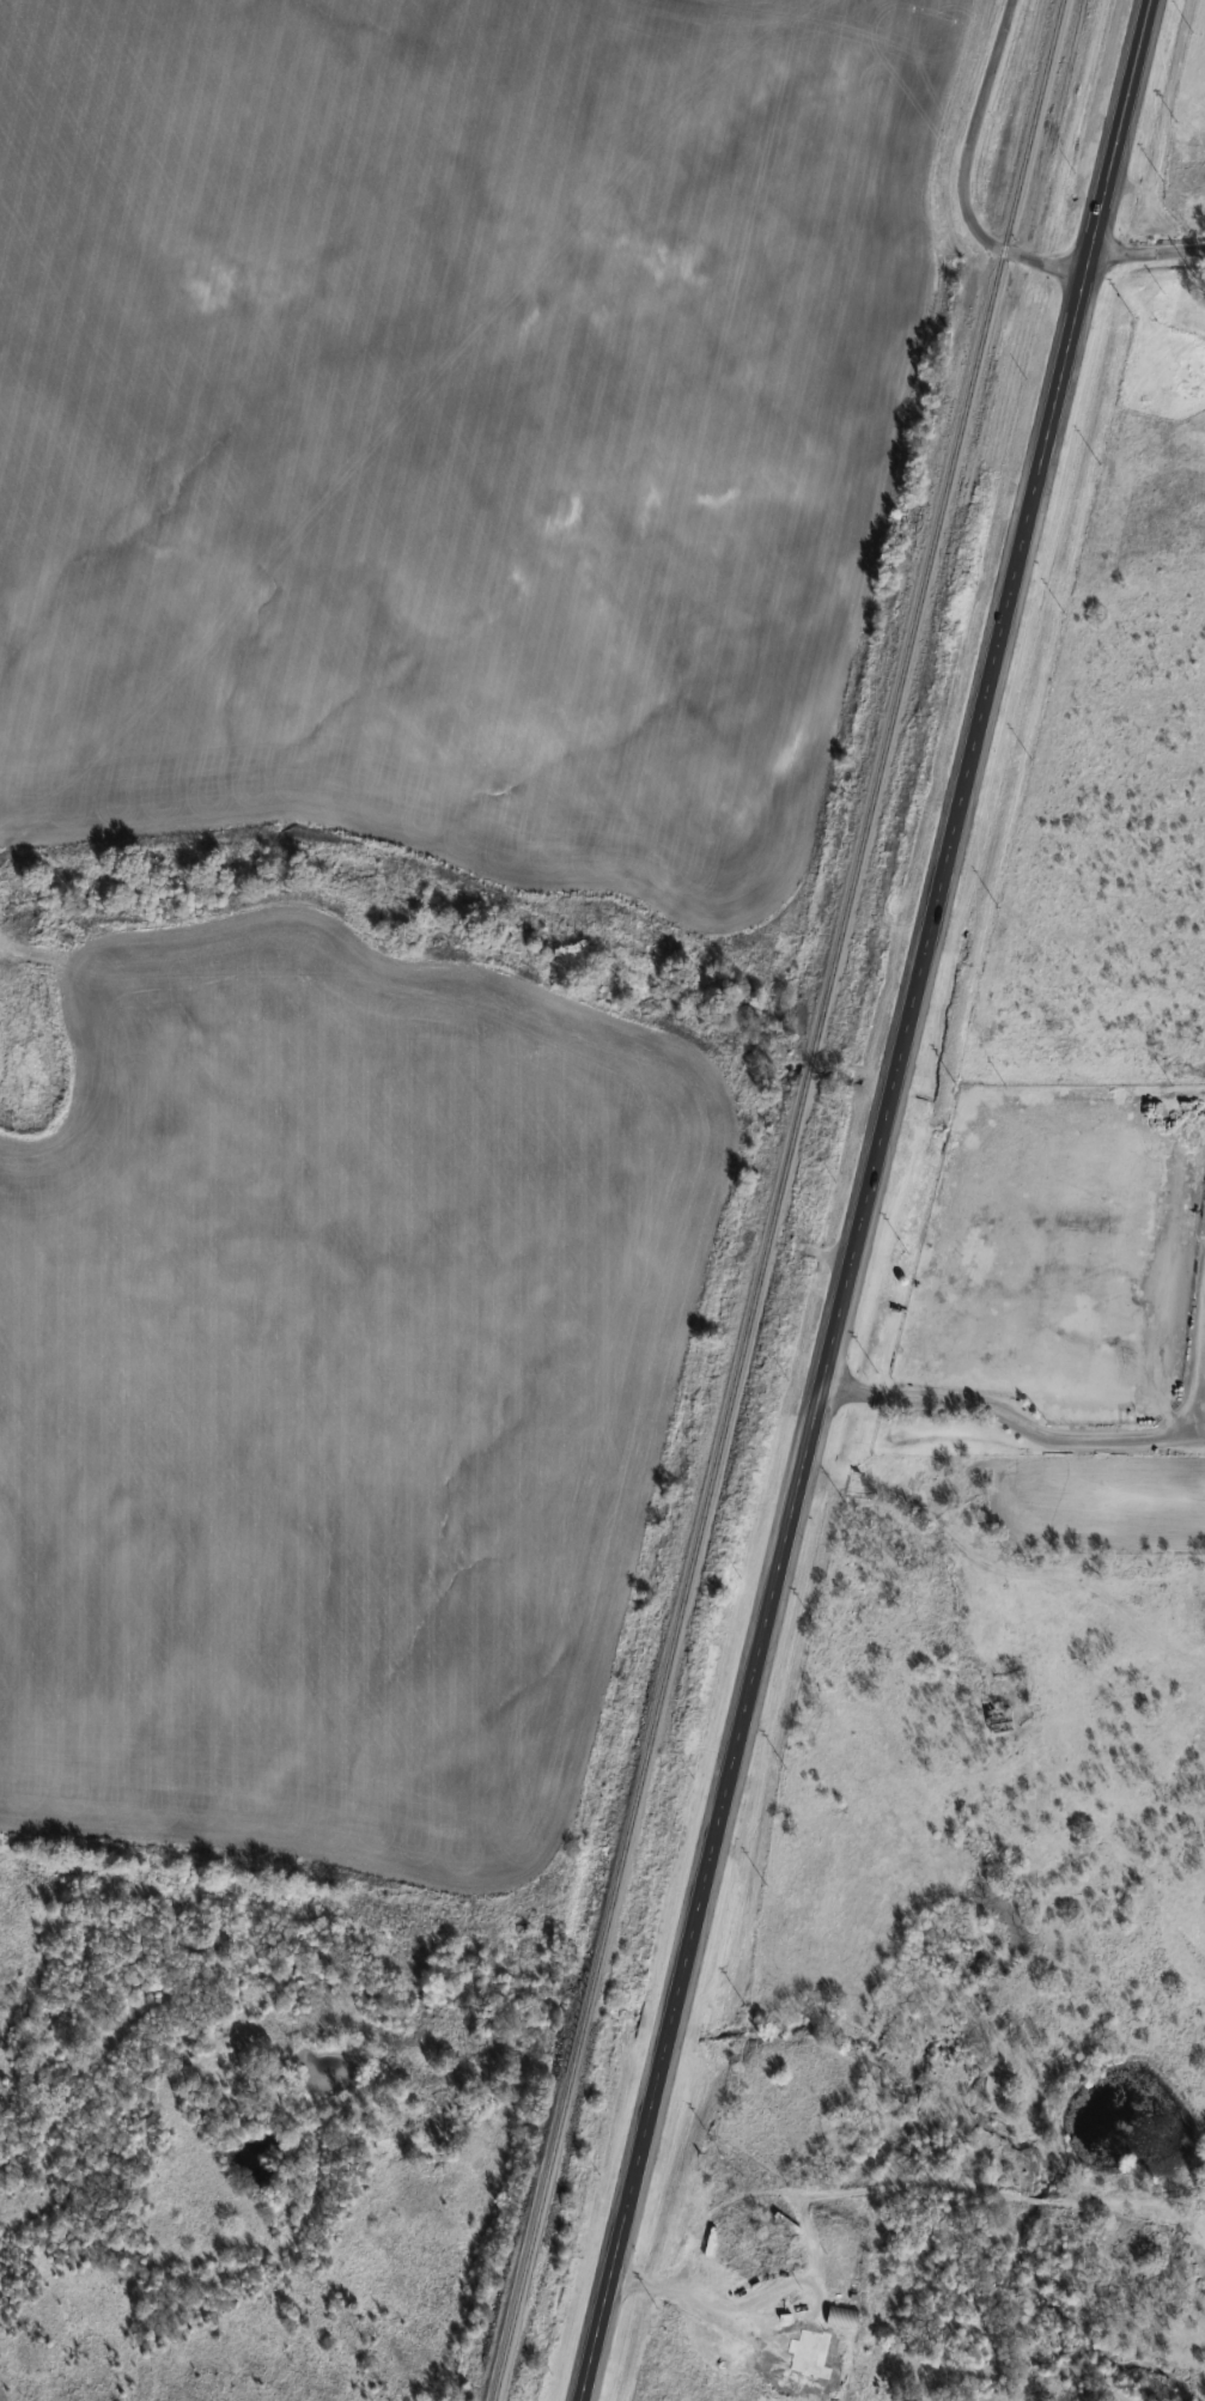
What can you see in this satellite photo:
road: (962, 175)
road: (1146, 253)
railway: (780, 1199)
road: (865, 1199)
road: (779, 1242)
road: (1022, 1421)
building: (1003, 1719)
road: (1033, 2196)
road: (1108, 2198)
road: (807, 2229)
building: (829, 2275)
building: (845, 2317)
building: (817, 2348)

